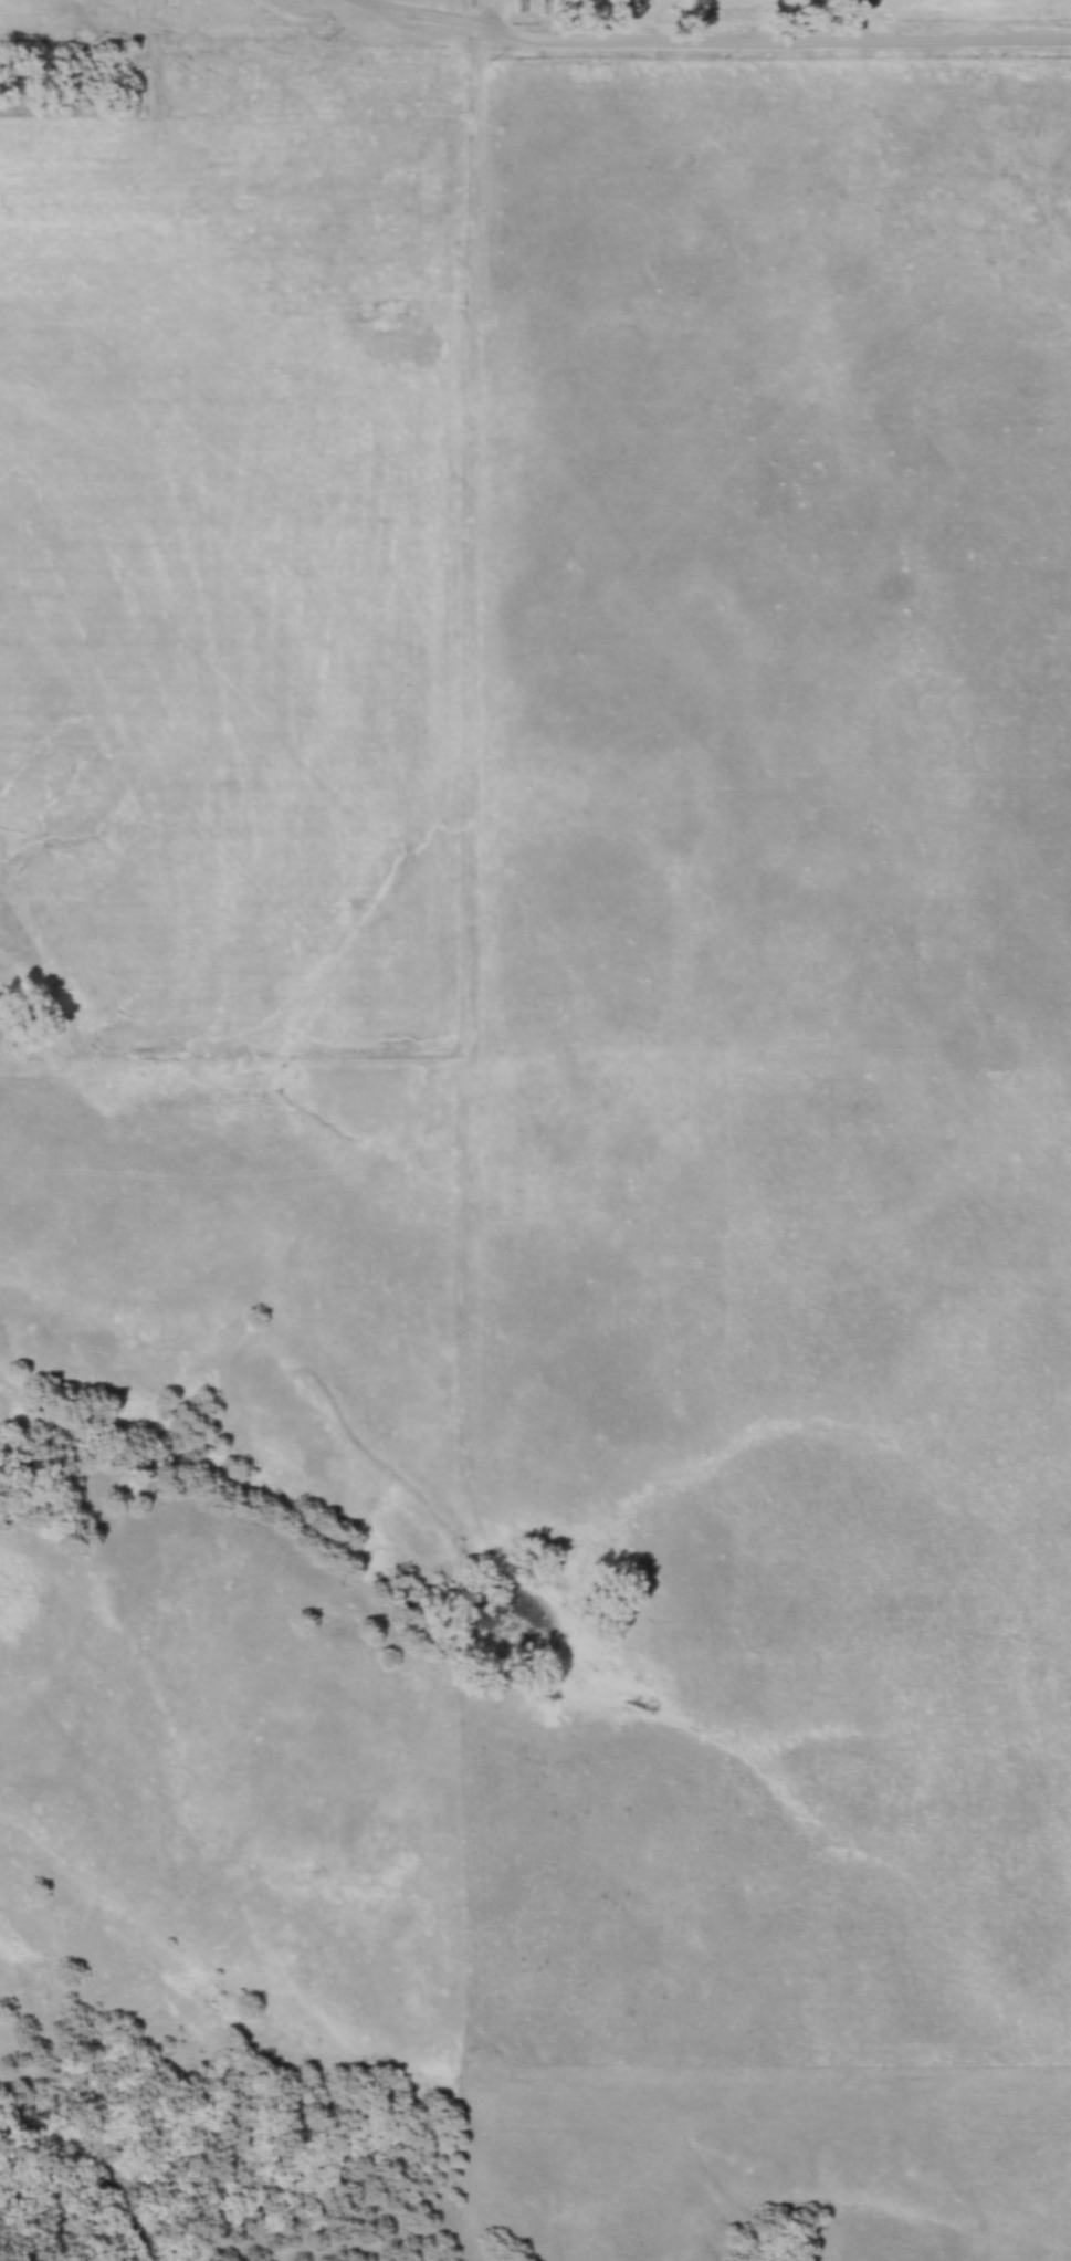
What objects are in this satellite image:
road: (421, 38)
road: (797, 49)

